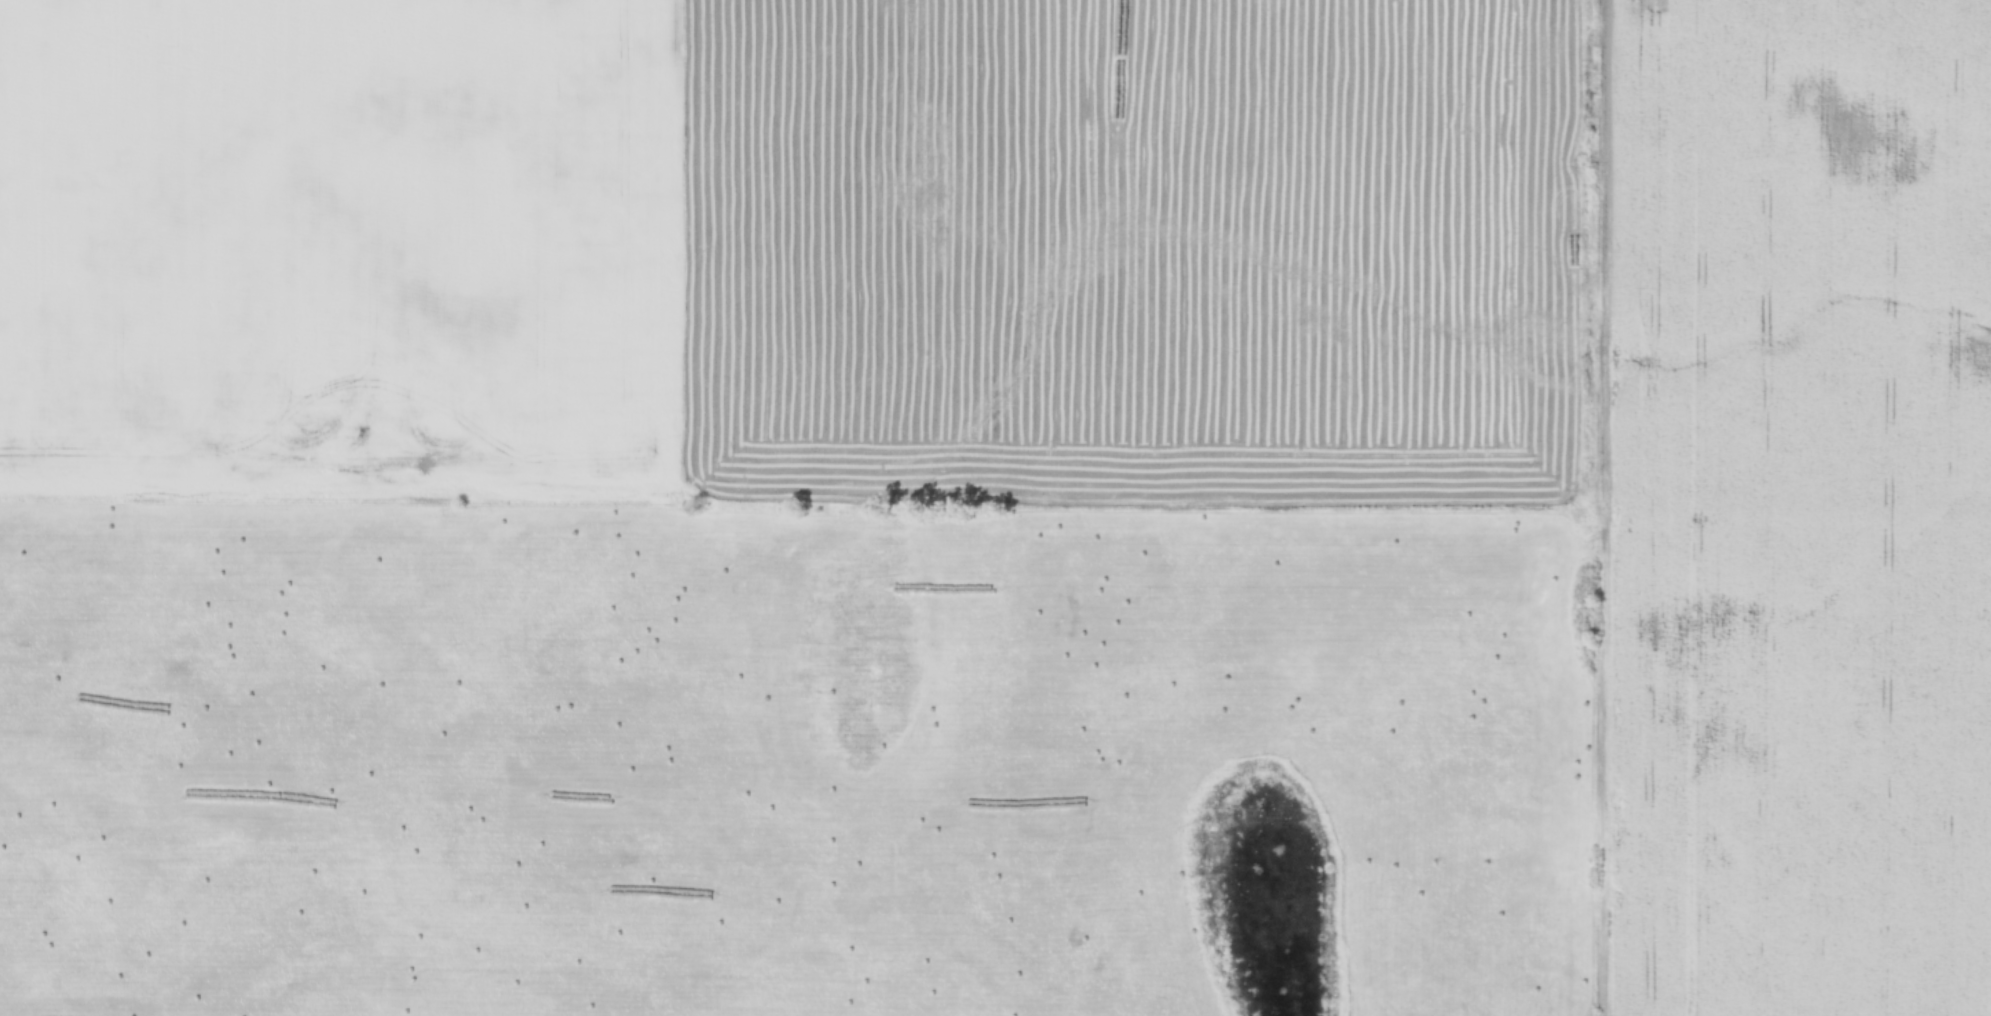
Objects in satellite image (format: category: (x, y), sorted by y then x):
road: (1607, 508)

